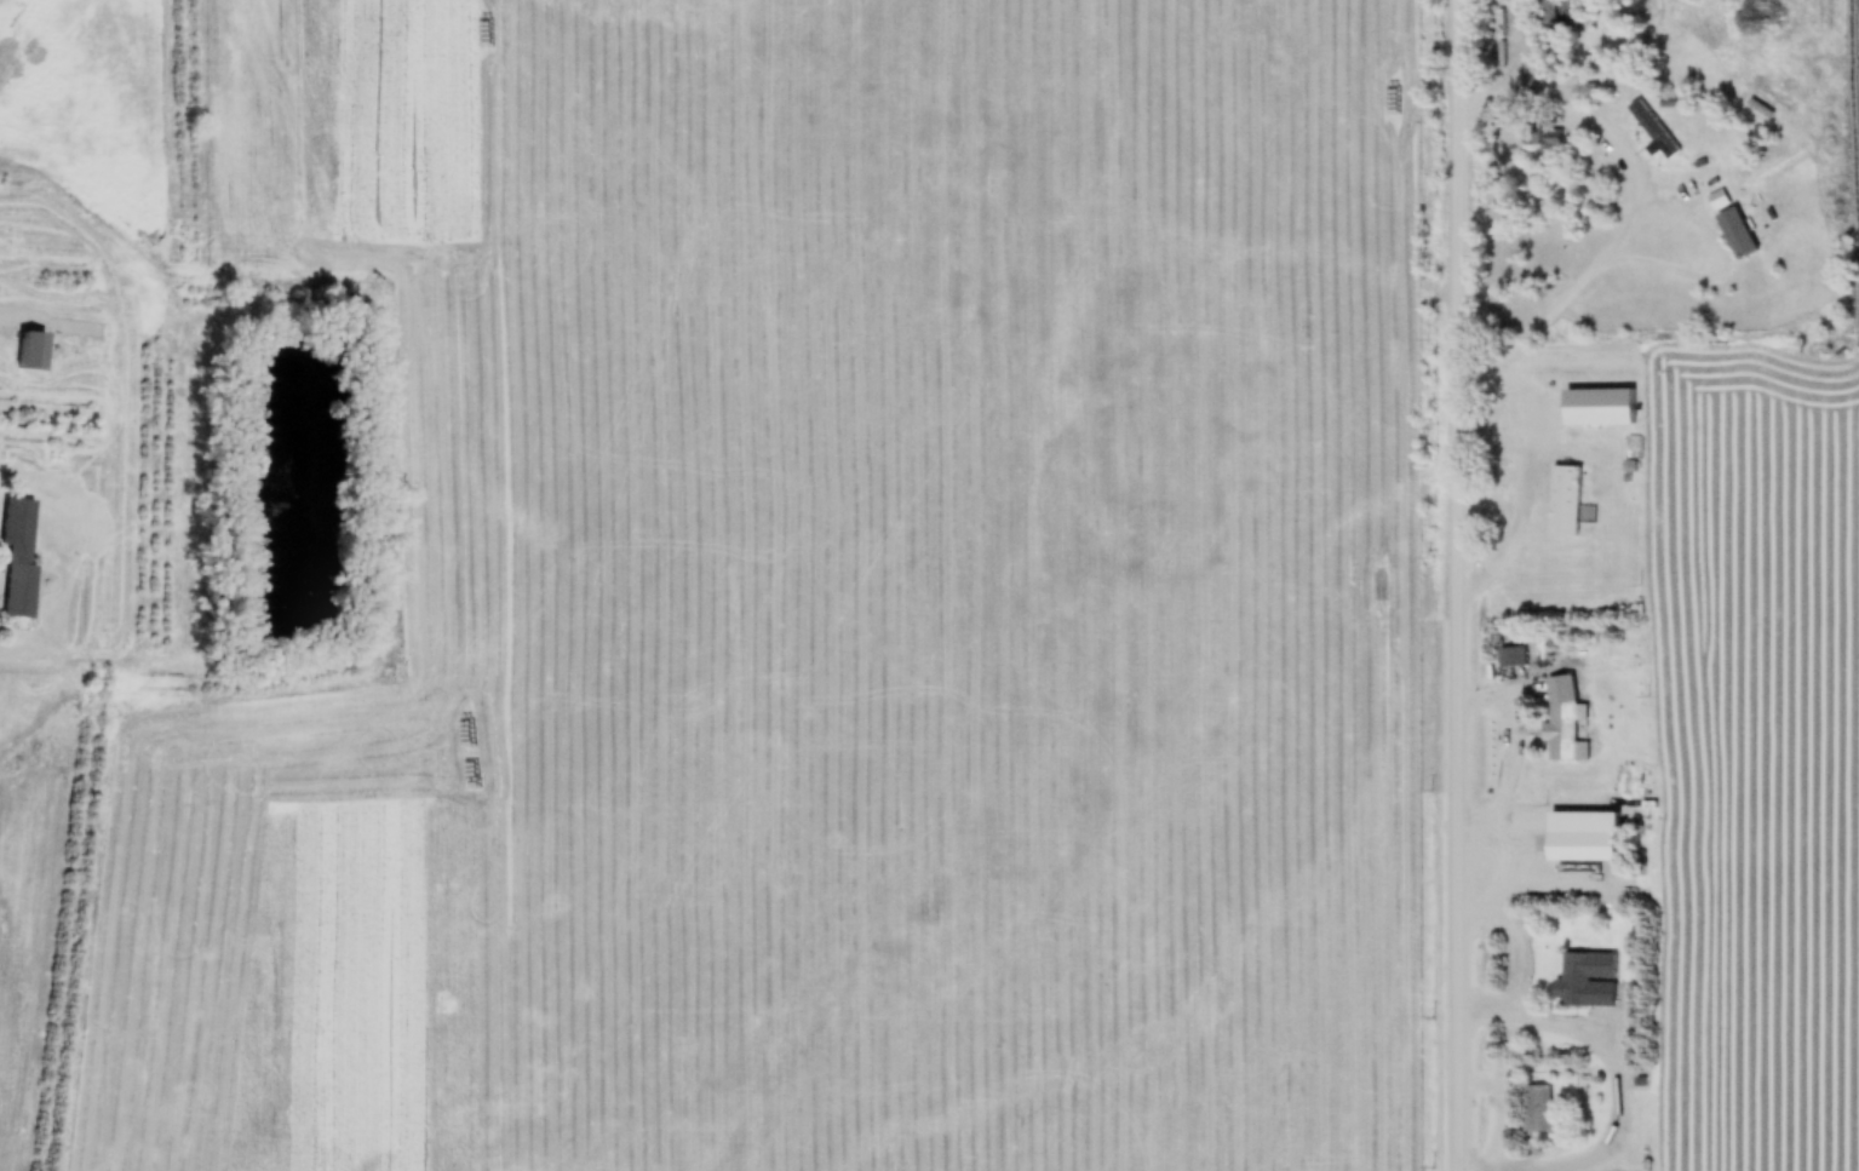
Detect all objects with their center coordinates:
building: (1497, 1)
building: (1543, 11)
building: (1595, 408)
building: (1562, 503)
building: (33, 559)
road: (1465, 585)
building: (1511, 658)
building: (1562, 722)
building: (1576, 849)
building: (1583, 981)
building: (1537, 1112)

